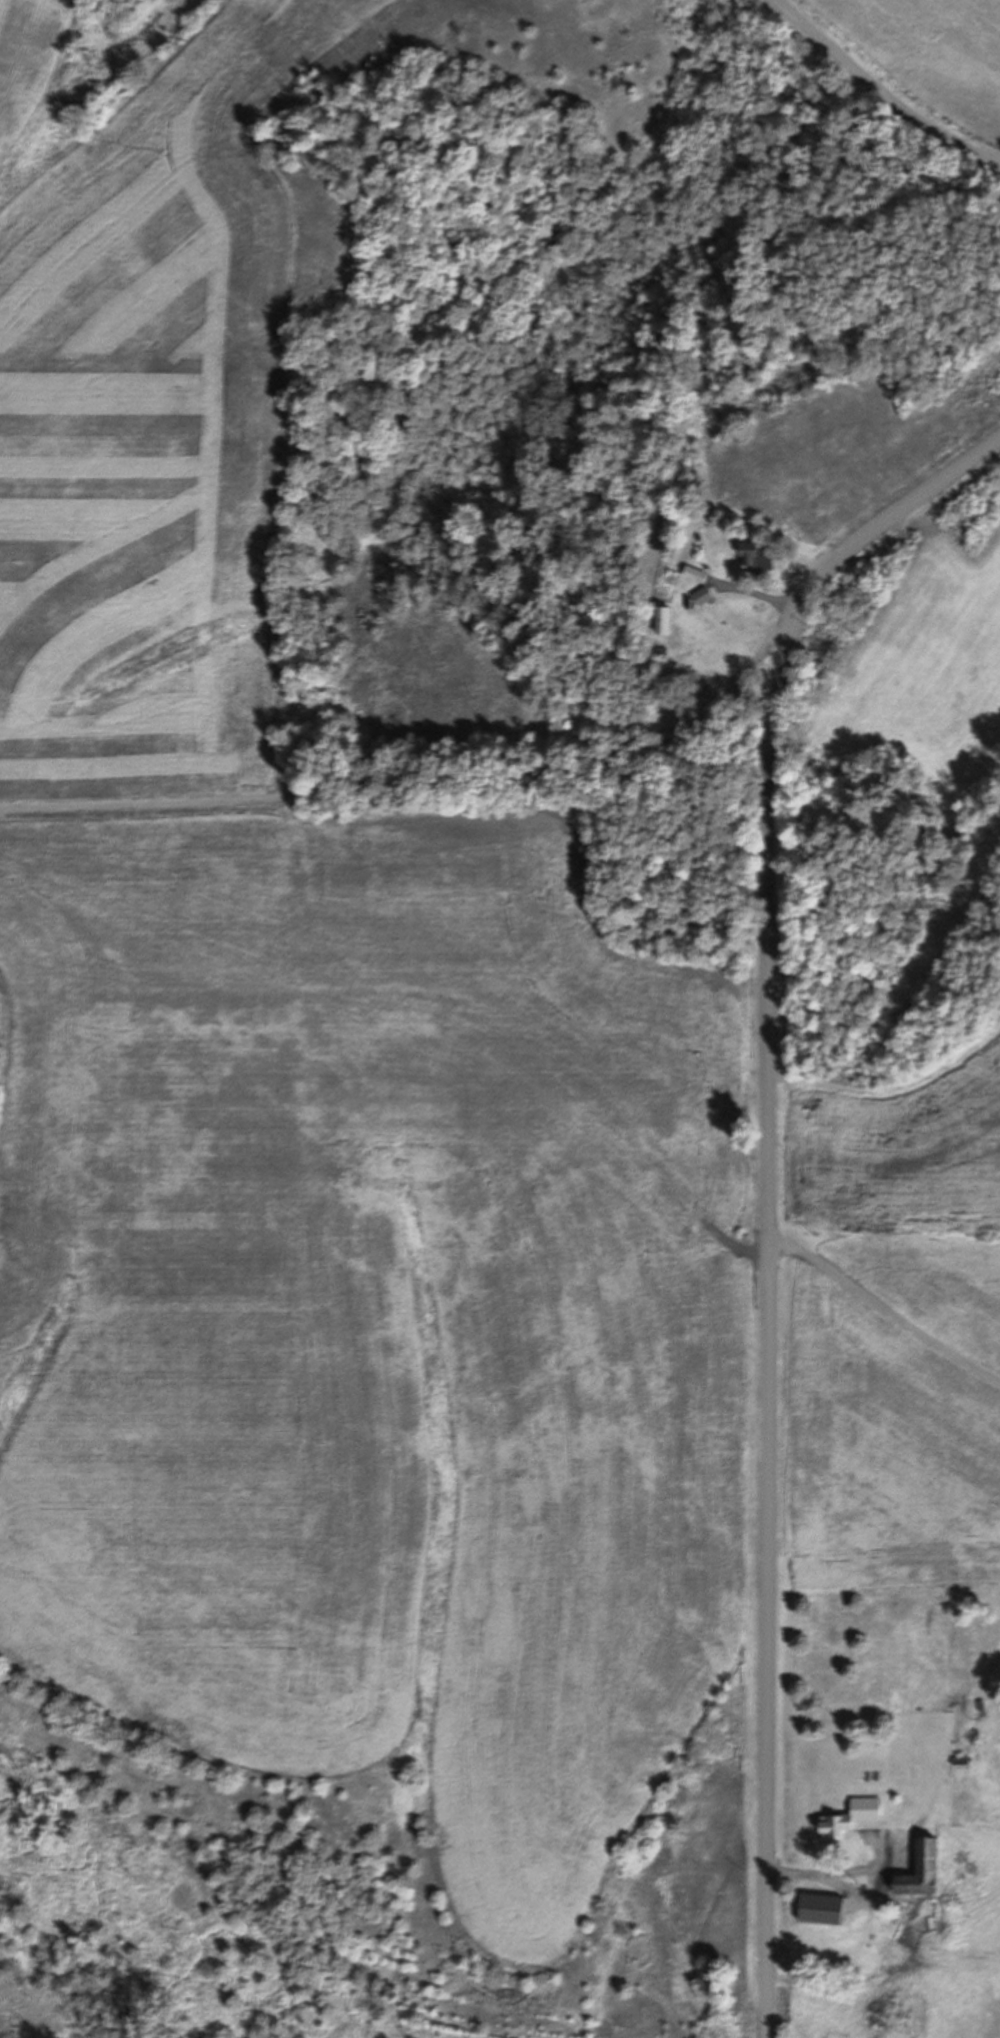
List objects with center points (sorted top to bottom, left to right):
road: (885, 87)
building: (755, 557)
building: (702, 596)
building: (662, 621)
road: (405, 781)
road: (768, 1189)
road: (882, 1303)
building: (850, 1817)
building: (919, 1870)
building: (821, 1909)

